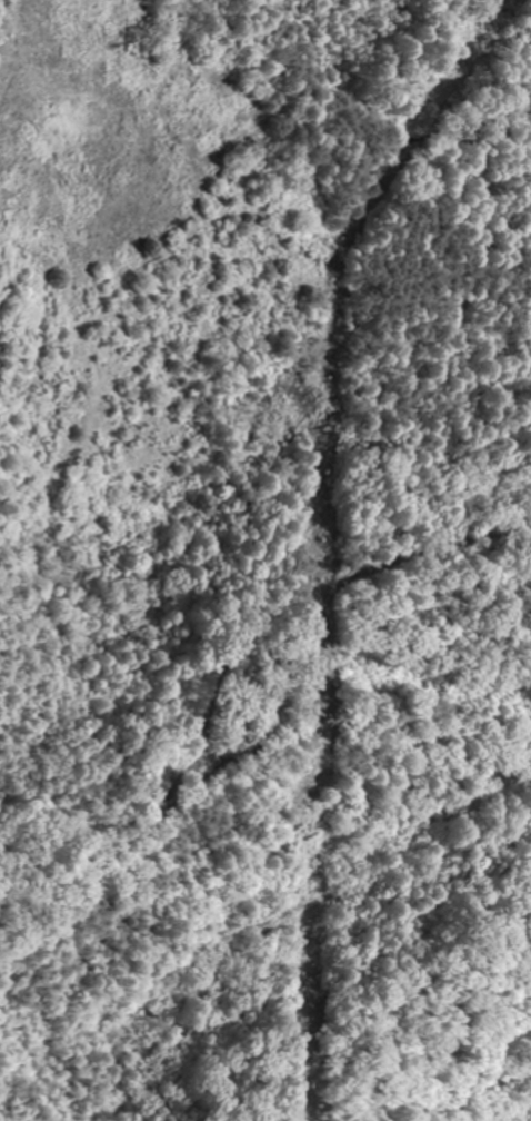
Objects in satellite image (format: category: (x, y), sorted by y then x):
road: (529, 1119)

